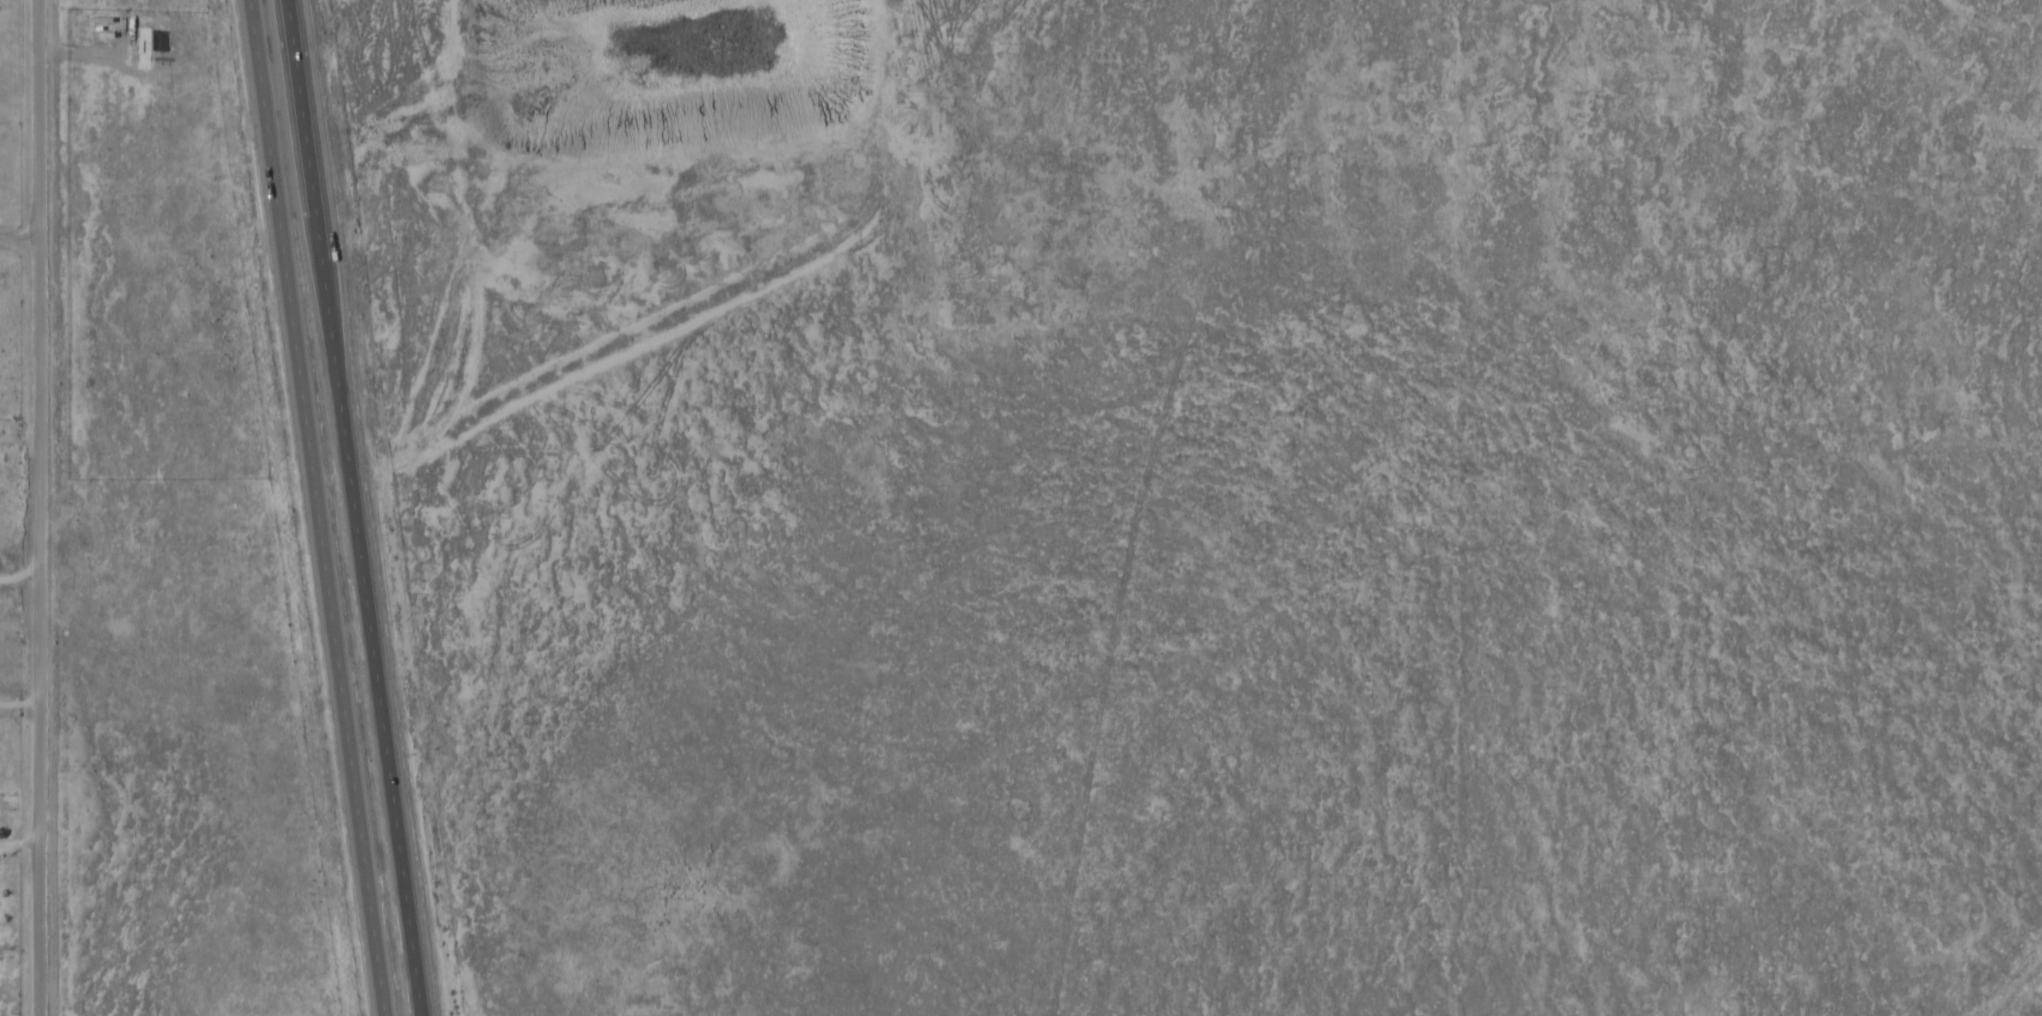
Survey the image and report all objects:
road: (42, 508)
road: (313, 508)
road: (357, 508)

